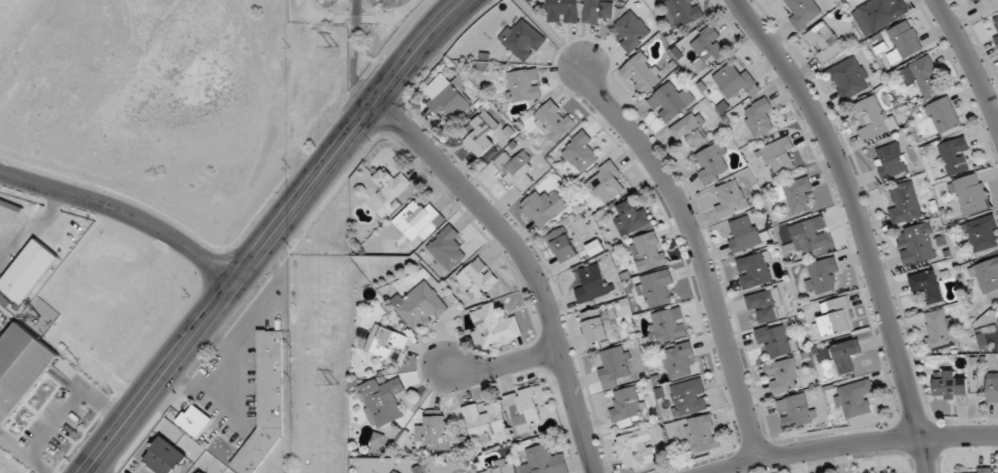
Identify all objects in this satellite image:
building: (986, 6)
building: (563, 11)
building: (597, 11)
building: (683, 11)
building: (803, 11)
building: (879, 14)
building: (996, 19)
building: (632, 31)
building: (996, 36)
building: (522, 39)
building: (904, 41)
building: (826, 42)
building: (708, 45)
road: (971, 63)
building: (642, 73)
building: (922, 75)
building: (850, 78)
building: (736, 80)
building: (523, 85)
building: (448, 96)
building: (668, 103)
building: (944, 114)
building: (759, 117)
building: (874, 120)
building: (553, 121)
building: (690, 128)
building: (481, 135)
building: (580, 152)
building: (779, 155)
building: (954, 155)
building: (890, 160)
building: (713, 164)
building: (515, 169)
building: (606, 182)
building: (390, 184)
building: (796, 195)
building: (970, 195)
building: (731, 199)
building: (905, 203)
building: (545, 209)
road: (124, 212)
building: (631, 218)
building: (418, 219)
road: (858, 224)
building: (983, 233)
road: (272, 234)
building: (744, 234)
building: (810, 235)
building: (57, 237)
building: (917, 244)
building: (563, 245)
building: (448, 248)
road: (695, 248)
building: (647, 251)
road: (524, 264)
building: (756, 270)
building: (29, 271)
building: (986, 276)
building: (824, 277)
building: (477, 279)
building: (592, 283)
building: (928, 286)
building: (655, 289)
building: (765, 304)
building: (420, 306)
building: (836, 317)
building: (596, 325)
building: (668, 325)
building: (494, 327)
building: (940, 330)
building: (775, 340)
building: (386, 342)
building: (847, 356)
road: (503, 359)
building: (679, 359)
building: (614, 365)
building: (21, 369)
building: (784, 376)
building: (950, 386)
building: (992, 388)
road: (89, 394)
building: (689, 397)
building: (382, 401)
building: (857, 402)
building: (525, 408)
building: (626, 408)
building: (795, 411)
building: (195, 420)
building: (485, 420)
road: (54, 422)
building: (440, 431)
building: (702, 434)
road: (853, 445)
building: (636, 449)
road: (23, 453)
building: (165, 456)
building: (544, 460)
building: (500, 468)
building: (397, 471)
building: (203, 472)
building: (893, 472)
building: (974, 472)

